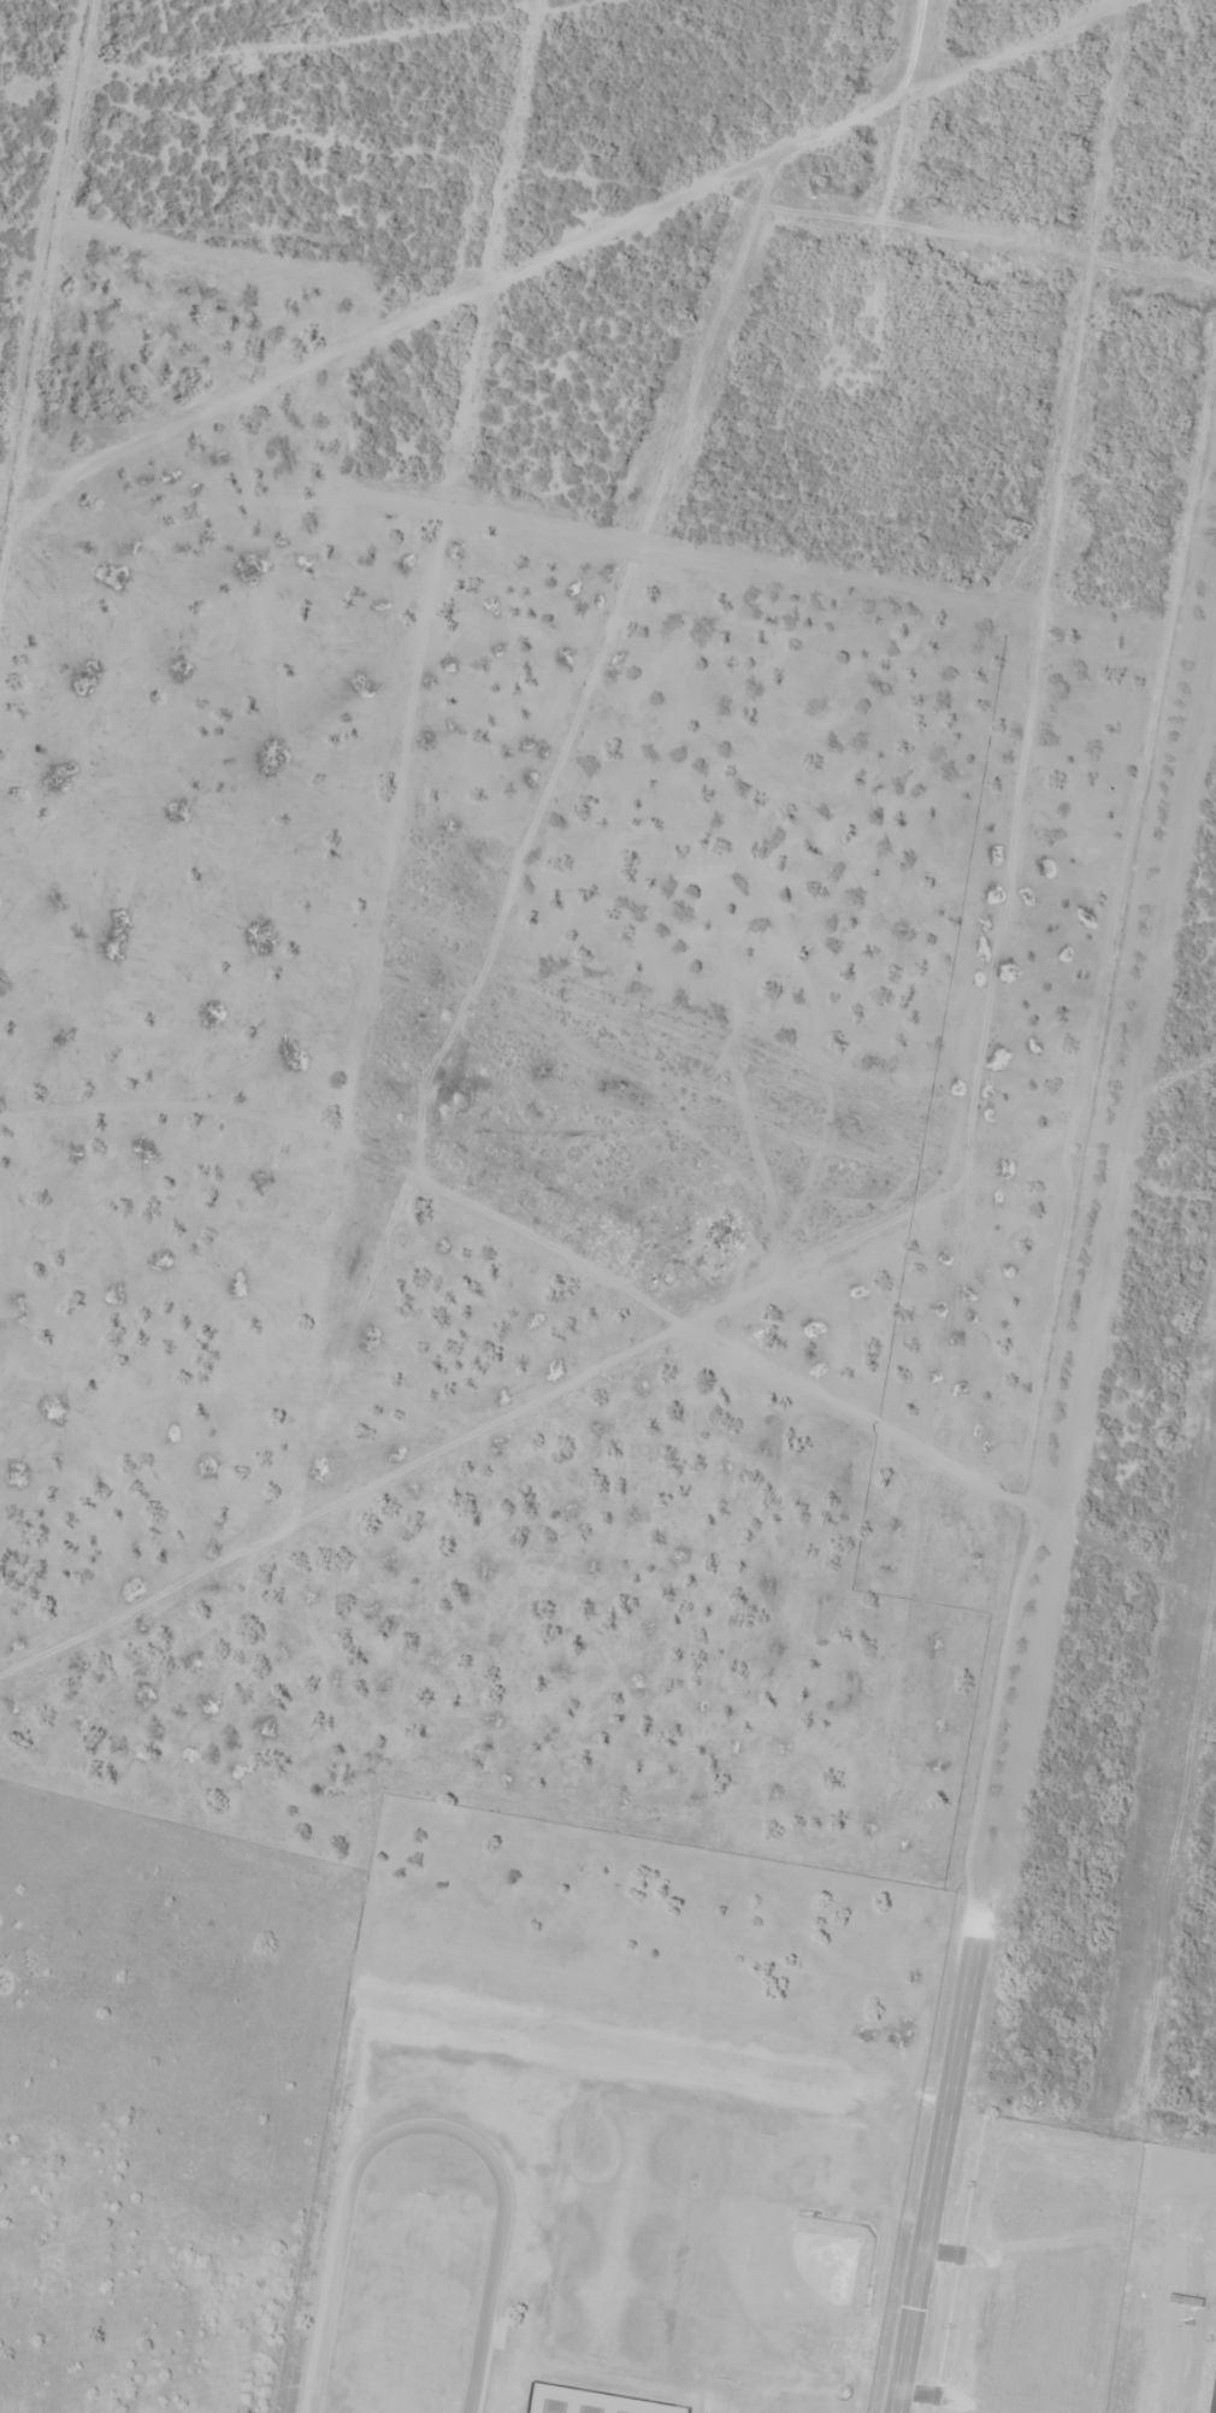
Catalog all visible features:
road: (896, 2393)
building: (754, 2400)

